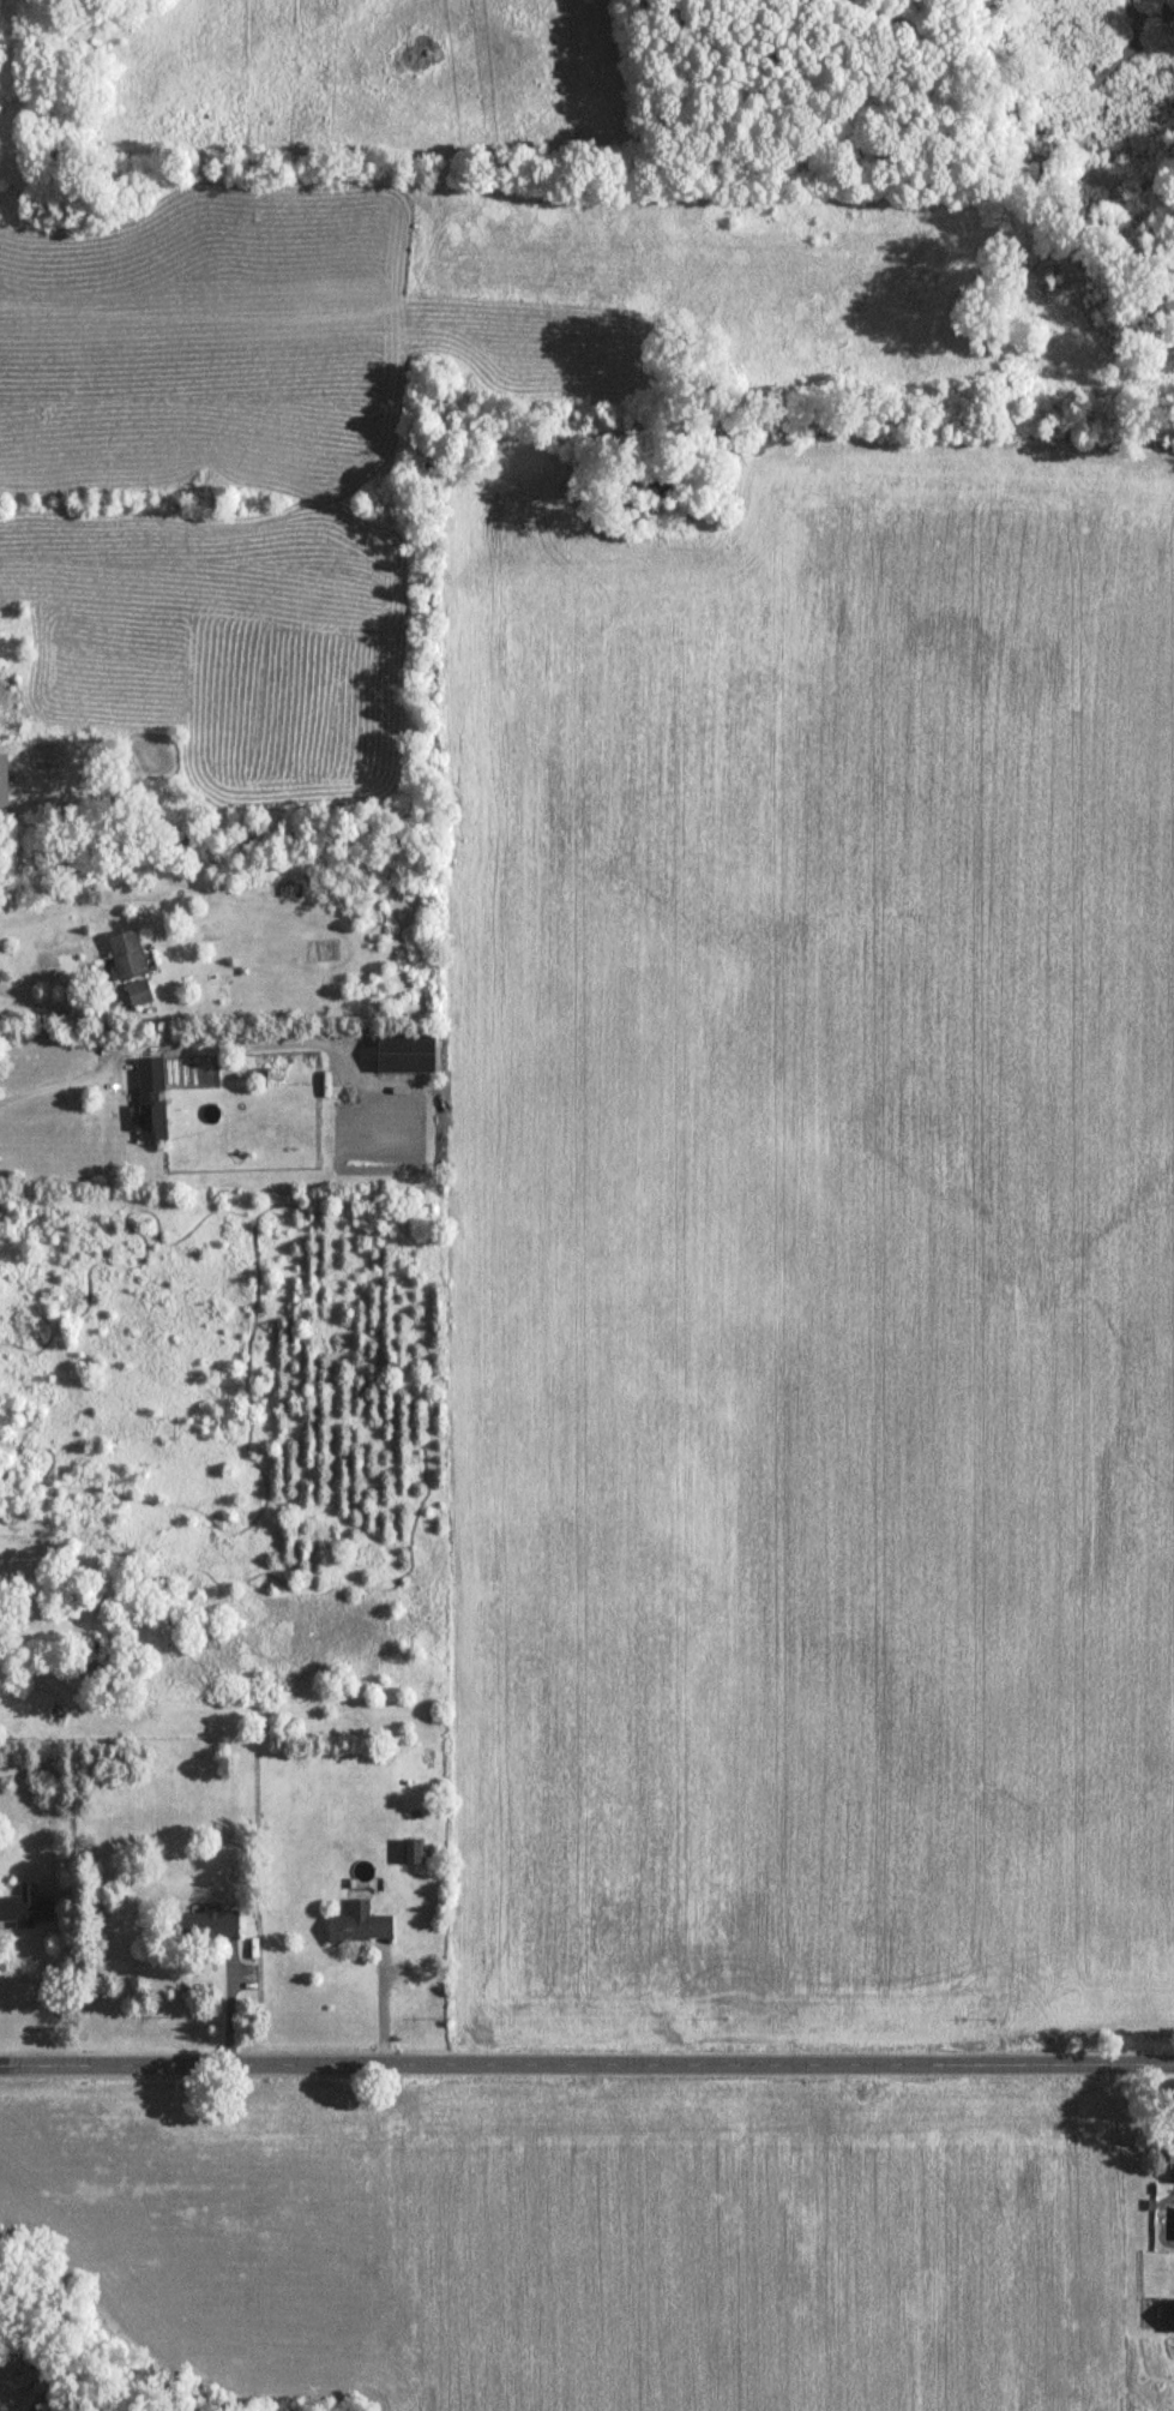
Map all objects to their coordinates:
building: (2, 785)
building: (125, 959)
building: (138, 995)
road: (43, 1003)
road: (50, 1091)
building: (151, 1102)
building: (410, 1853)
building: (25, 1909)
building: (209, 1924)
building: (360, 1926)
road: (586, 2062)
building: (1169, 2155)
building: (1168, 2317)

